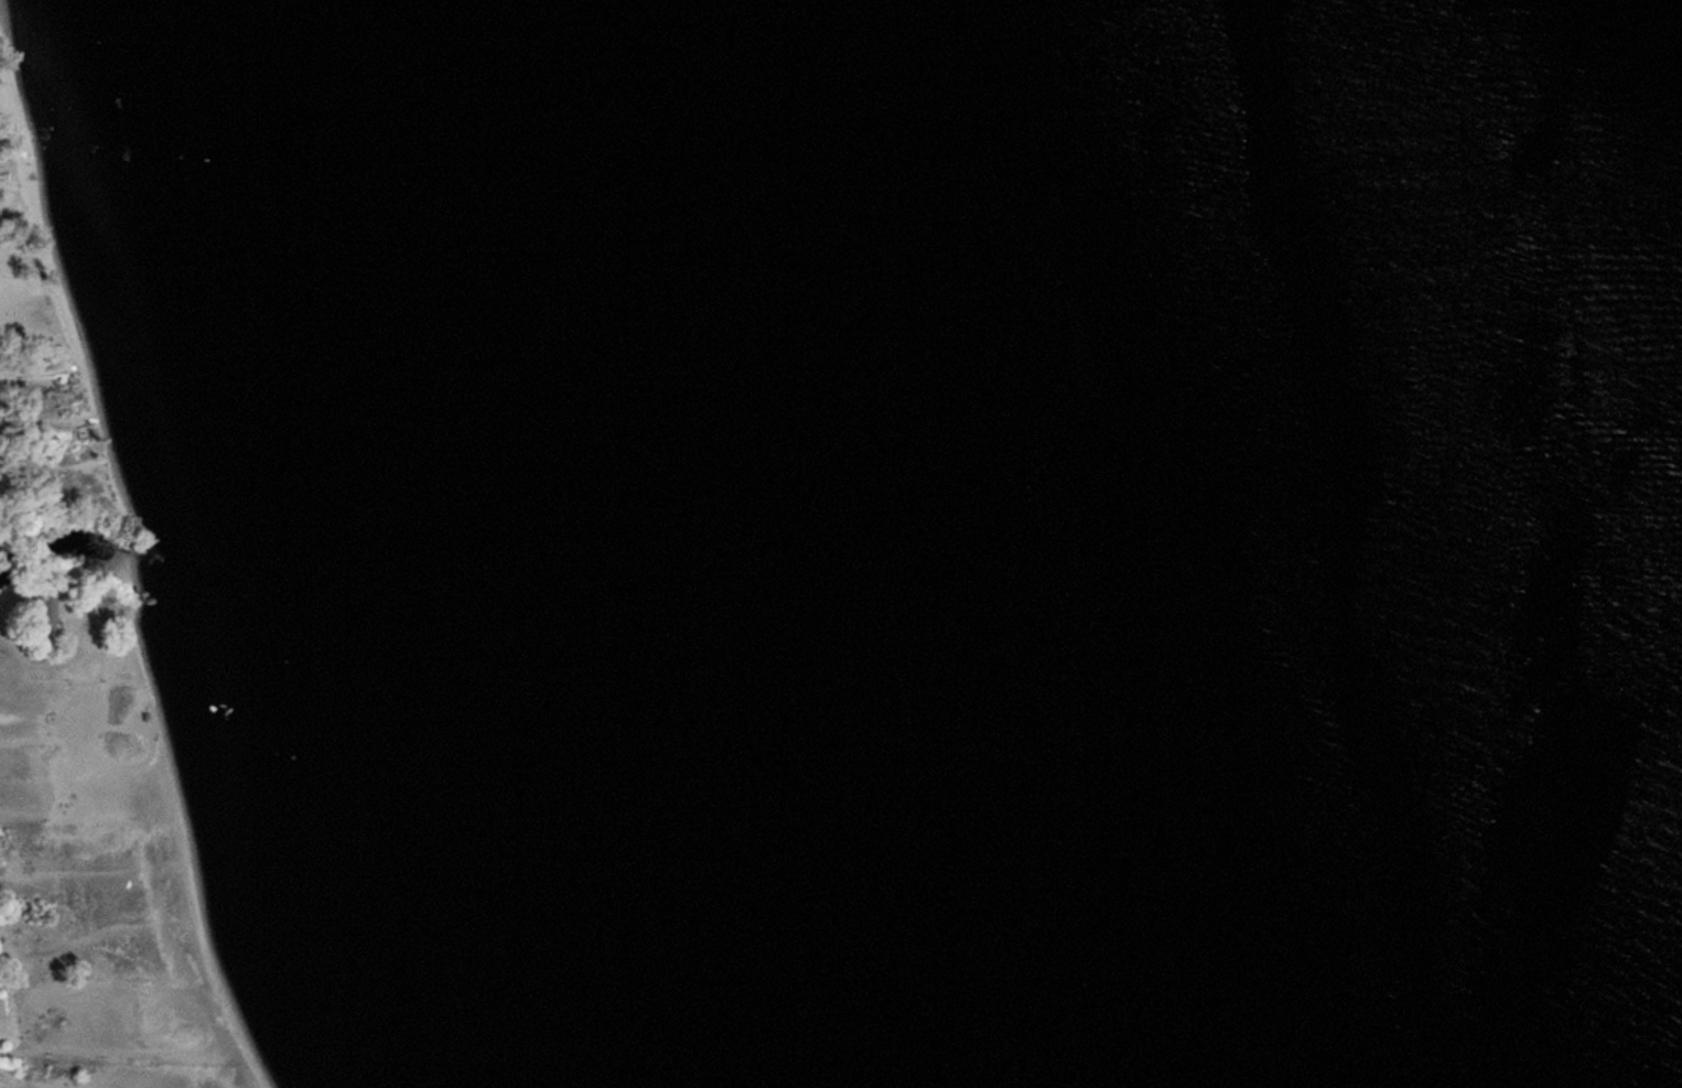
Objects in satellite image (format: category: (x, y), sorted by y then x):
building: (46, 614)

